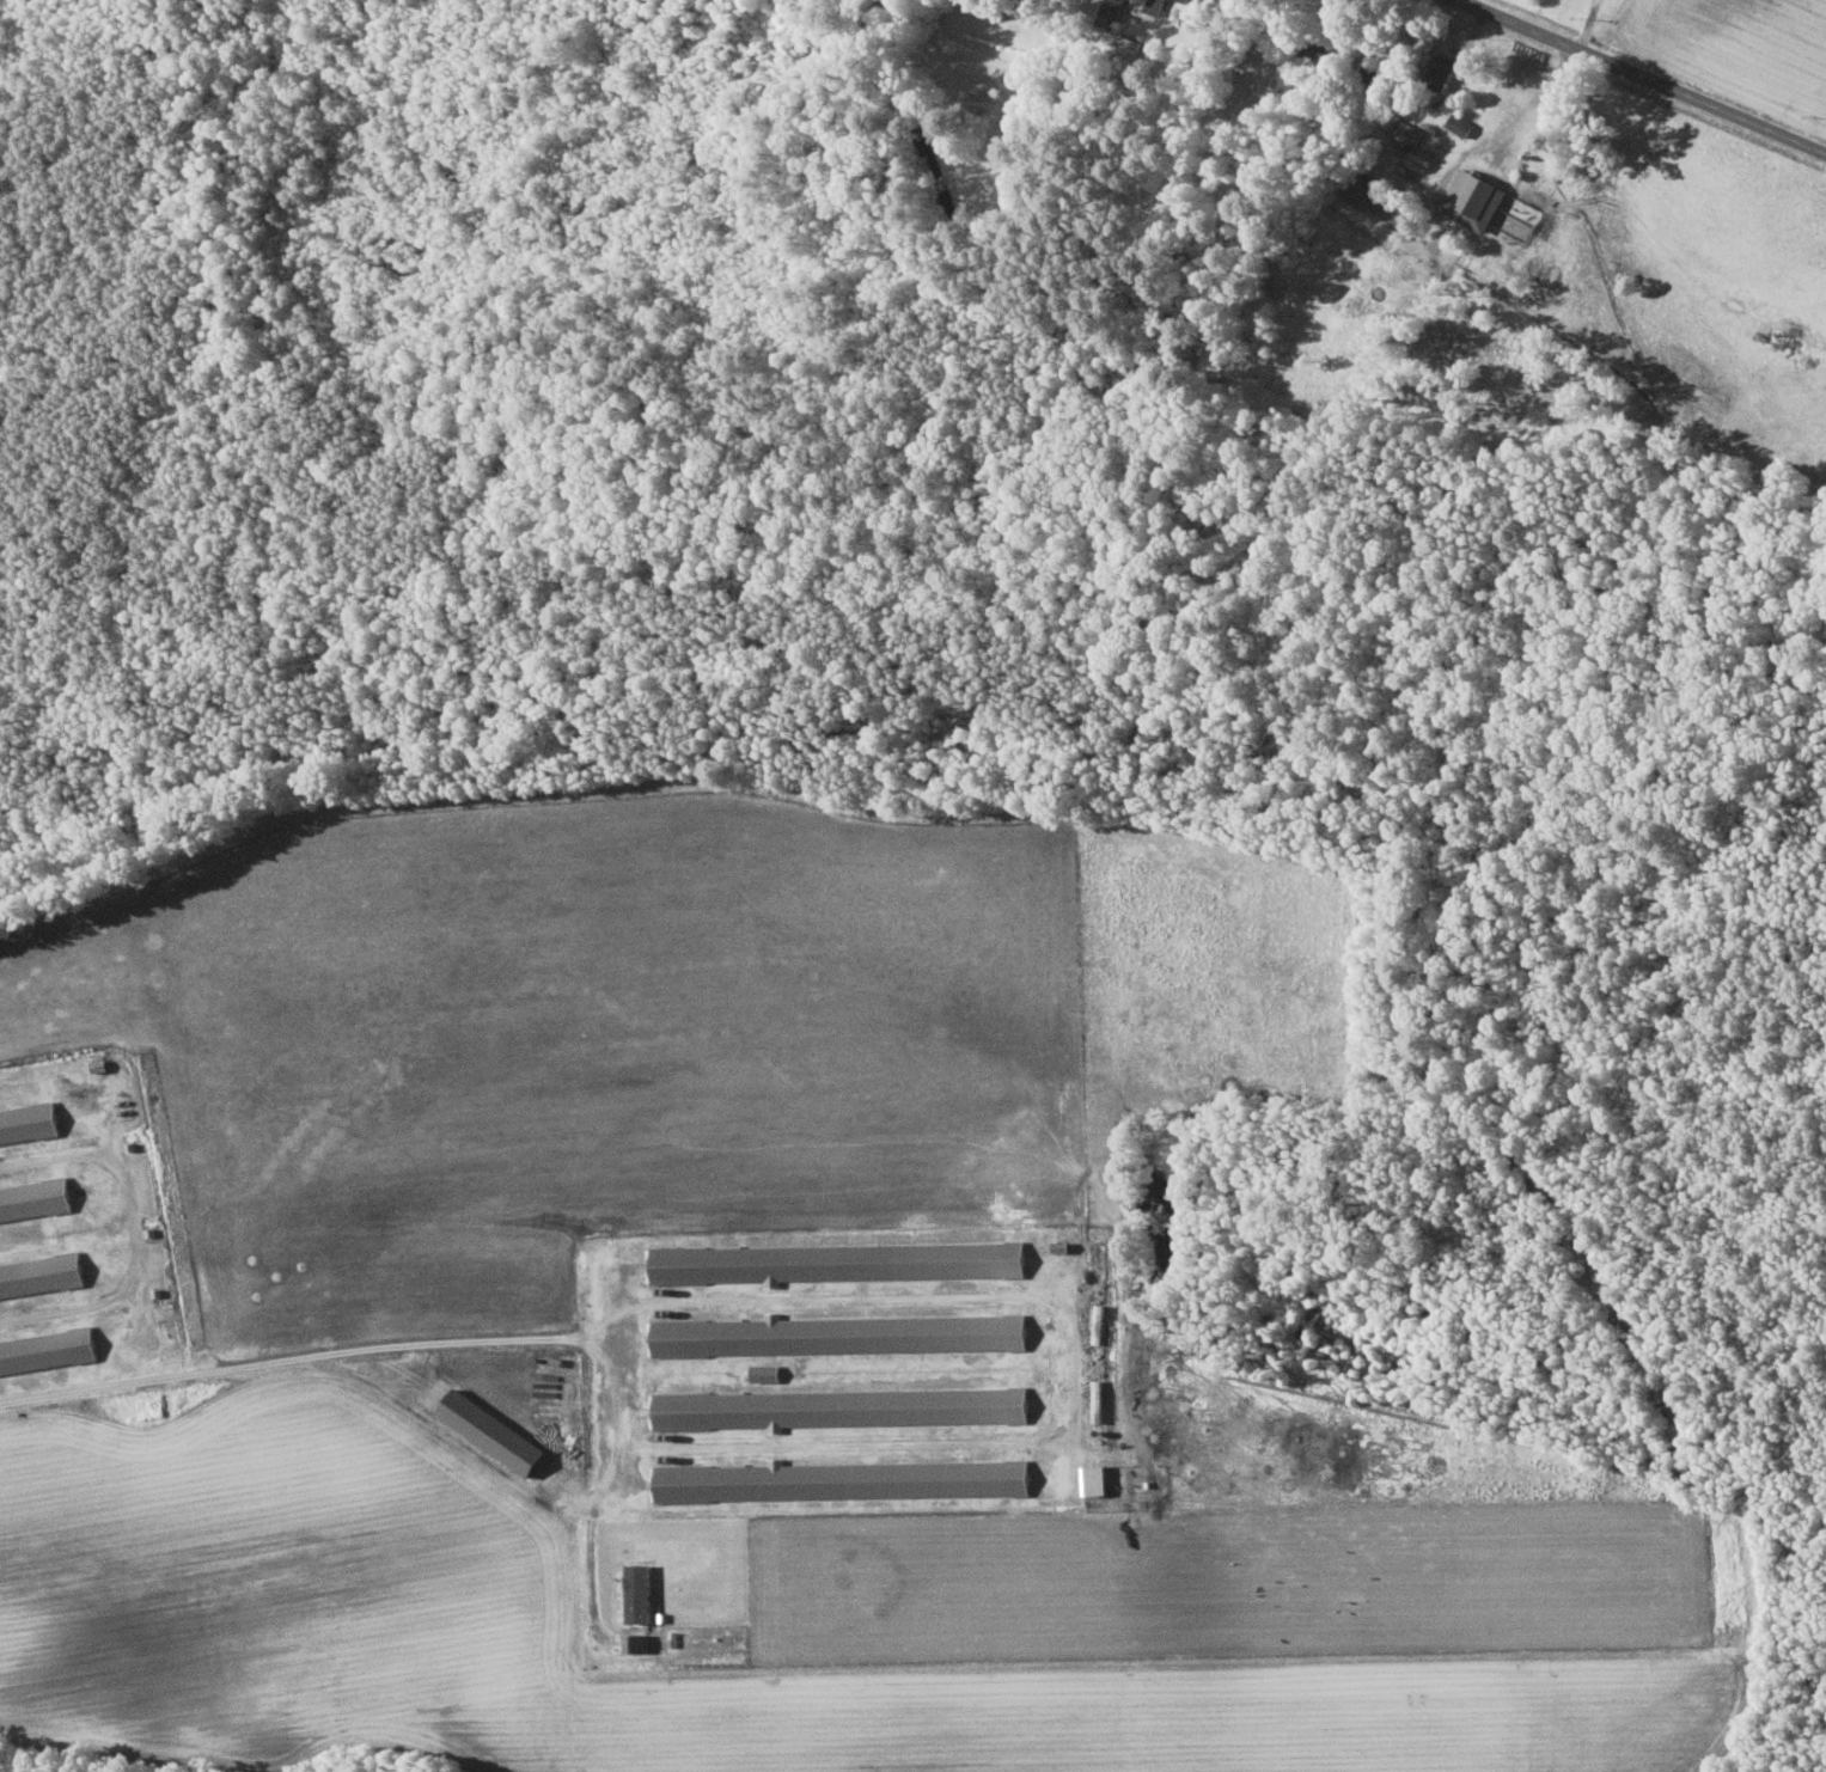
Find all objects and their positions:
building: (1185, 0)
building: (1154, 7)
building: (1441, 71)
road: (1636, 77)
building: (1459, 124)
building: (1407, 133)
building: (1473, 200)
building: (29, 1122)
building: (36, 1199)
building: (1064, 1247)
building: (838, 1263)
building: (42, 1272)
building: (1100, 1324)
building: (839, 1334)
building: (48, 1350)
road: (347, 1350)
building: (767, 1373)
building: (1100, 1400)
building: (843, 1406)
building: (491, 1431)
building: (1099, 1479)
building: (843, 1480)

